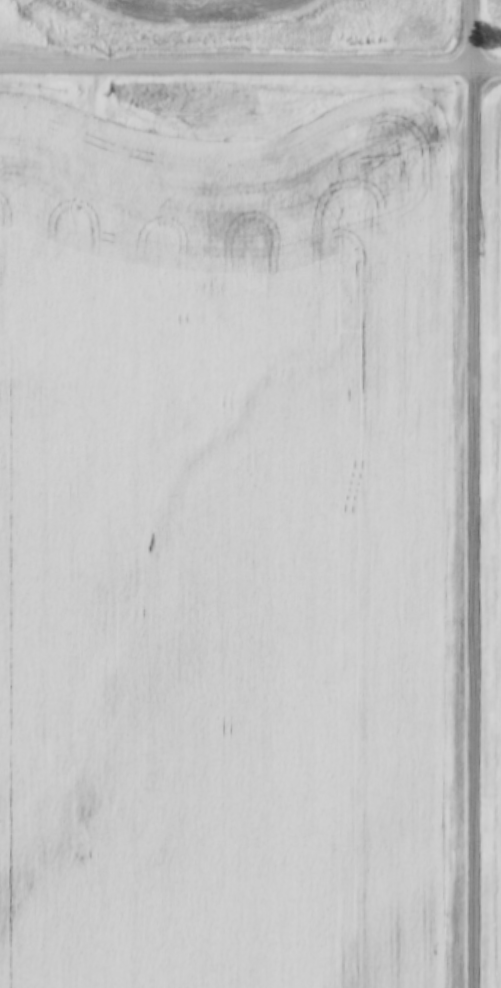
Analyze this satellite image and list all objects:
road: (250, 72)
road: (474, 493)

